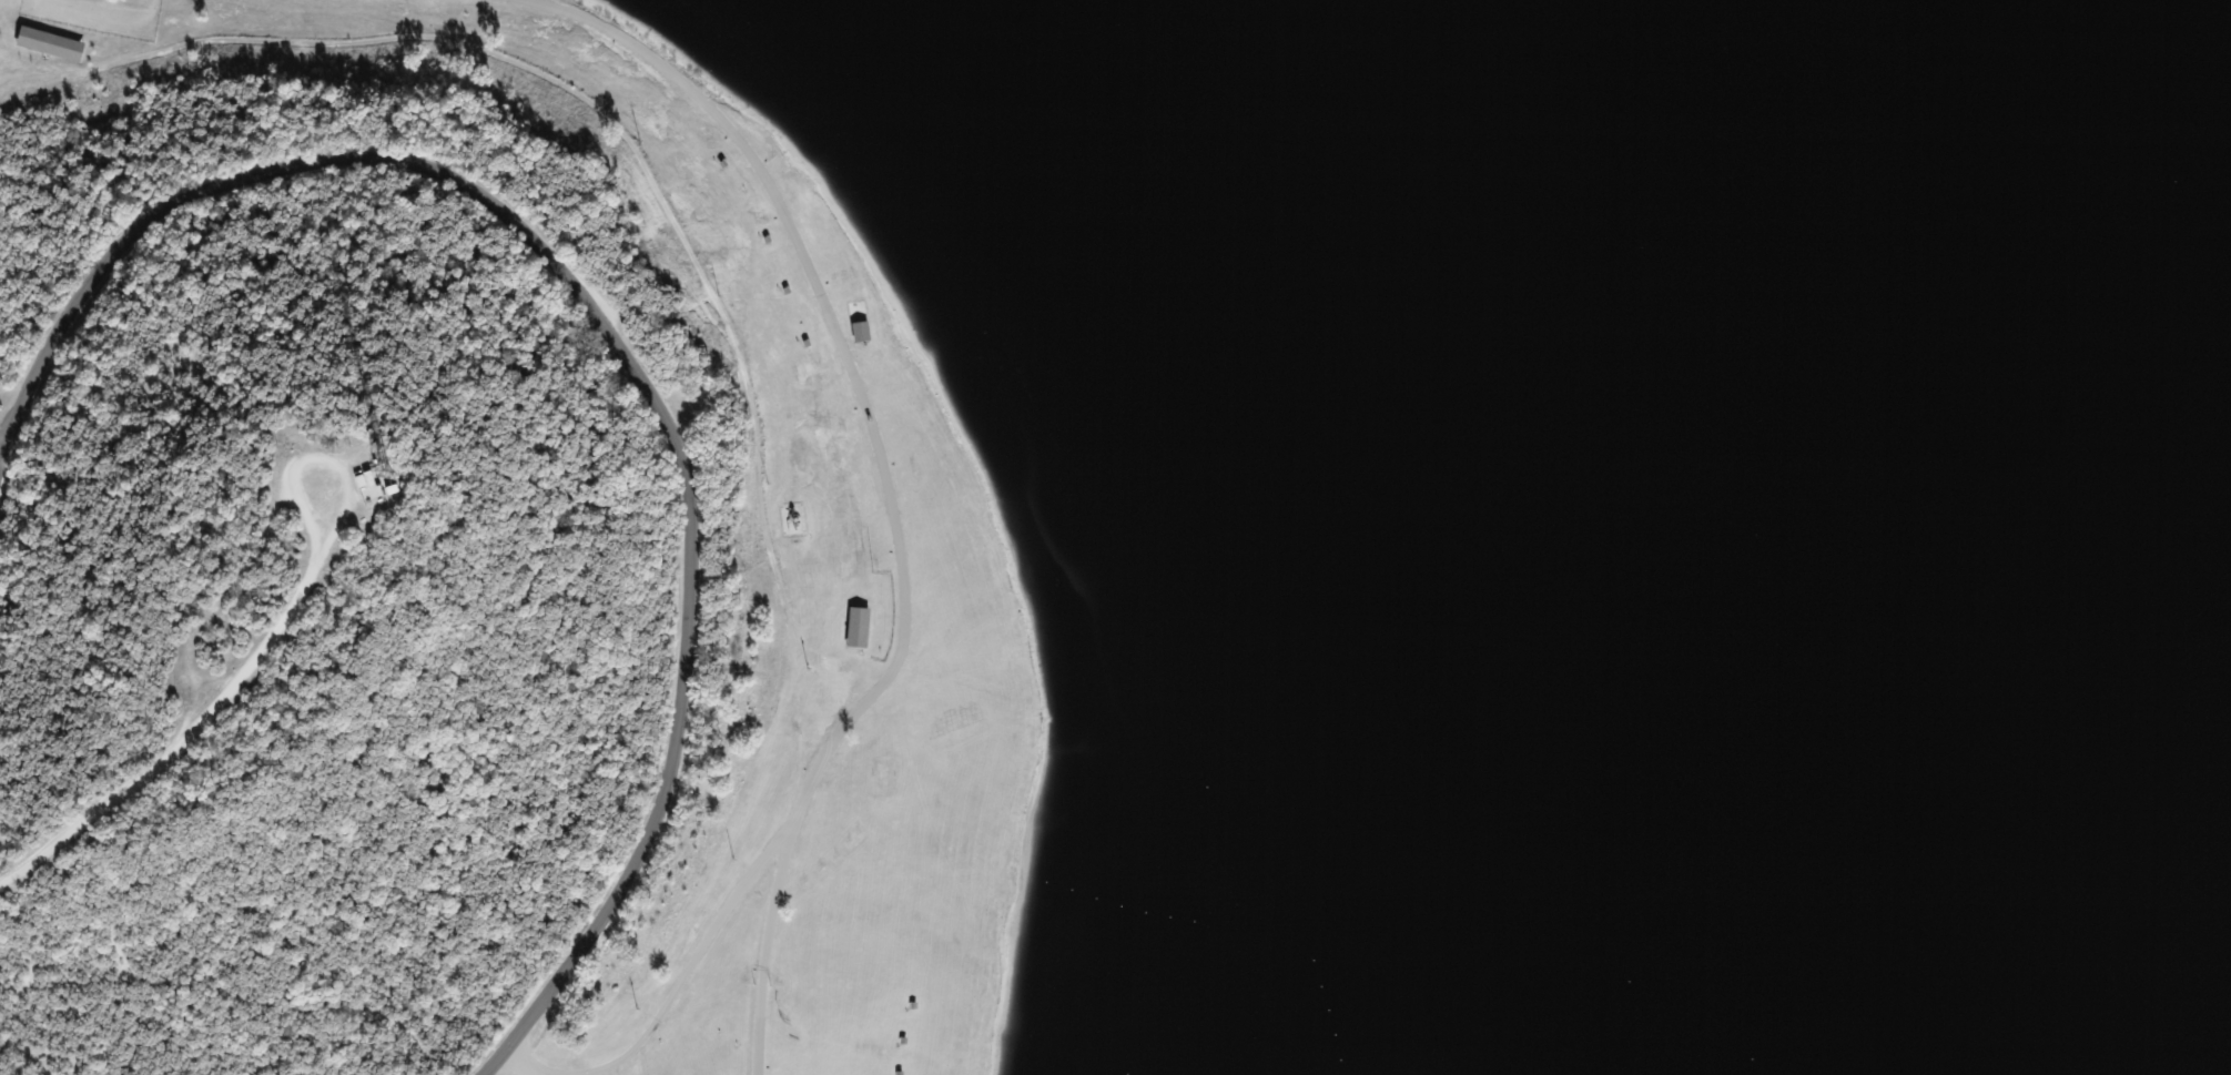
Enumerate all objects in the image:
building: (49, 44)
building: (862, 332)
road: (623, 334)
park: (478, 570)
building: (856, 628)

